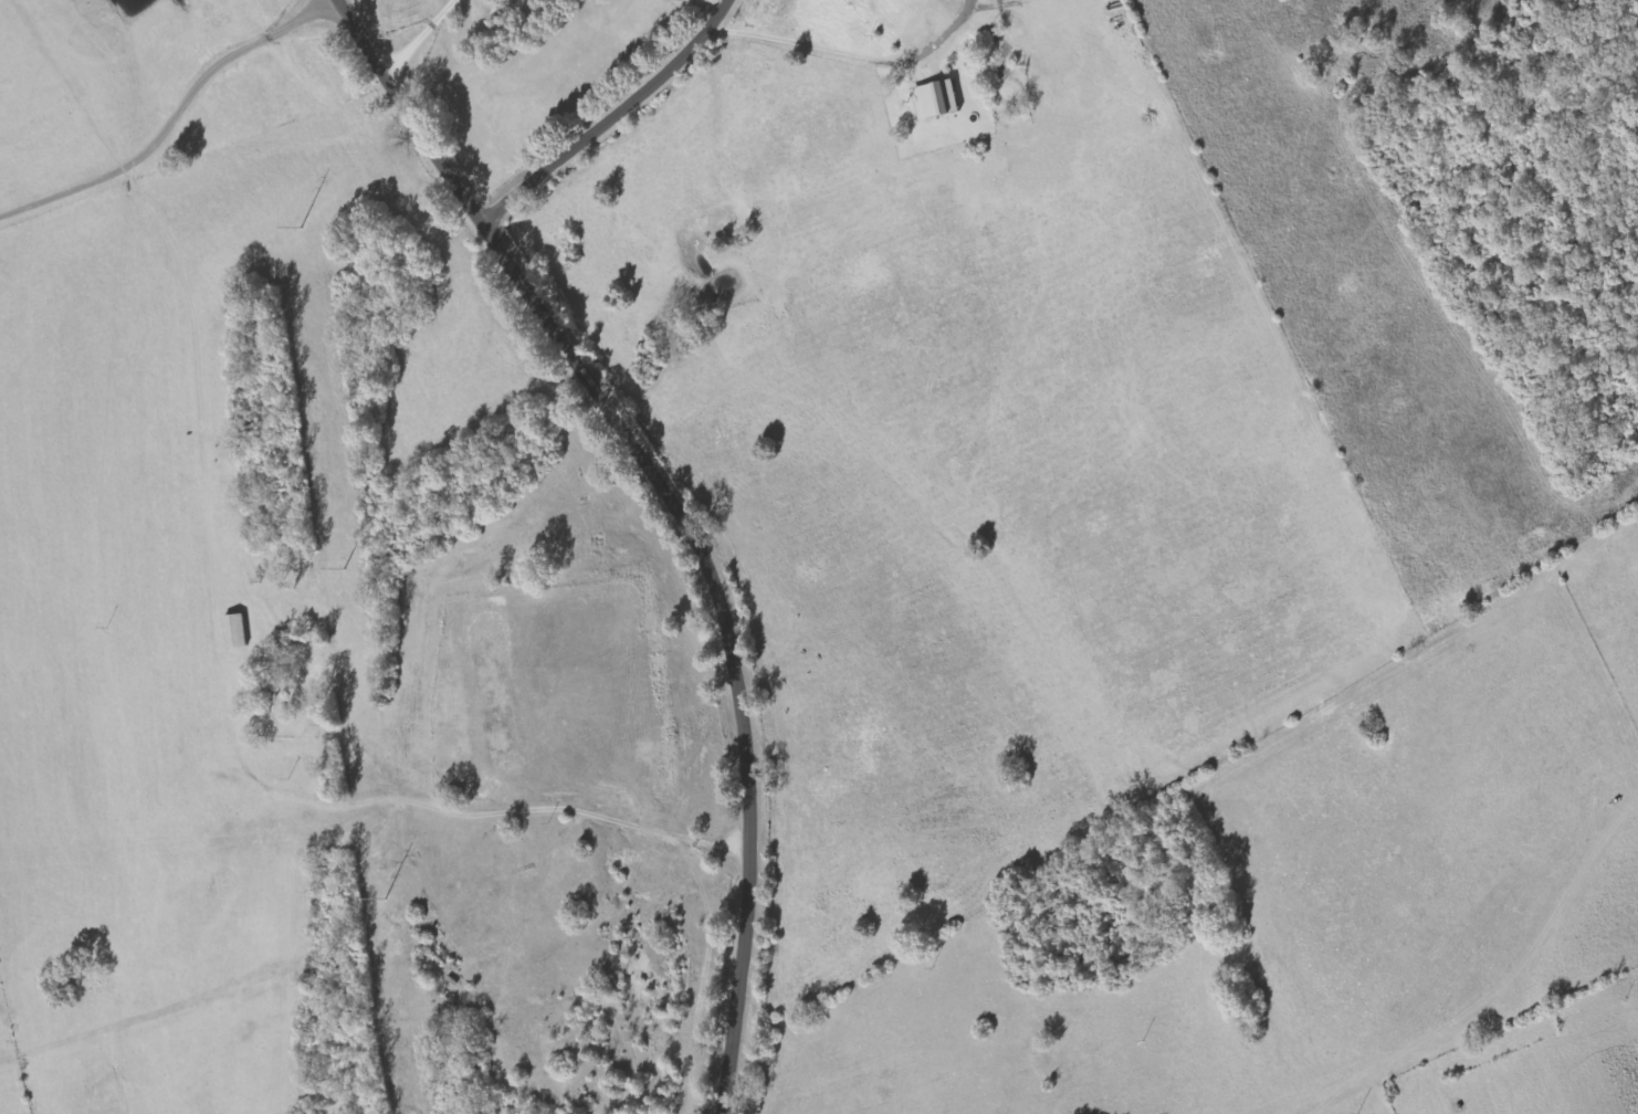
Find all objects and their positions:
building: (937, 101)
road: (606, 115)
road: (172, 117)
power tower: (298, 227)
road: (675, 514)
power tower: (342, 568)
building: (237, 630)
road: (602, 666)
power tower: (384, 897)
road: (1501, 989)

